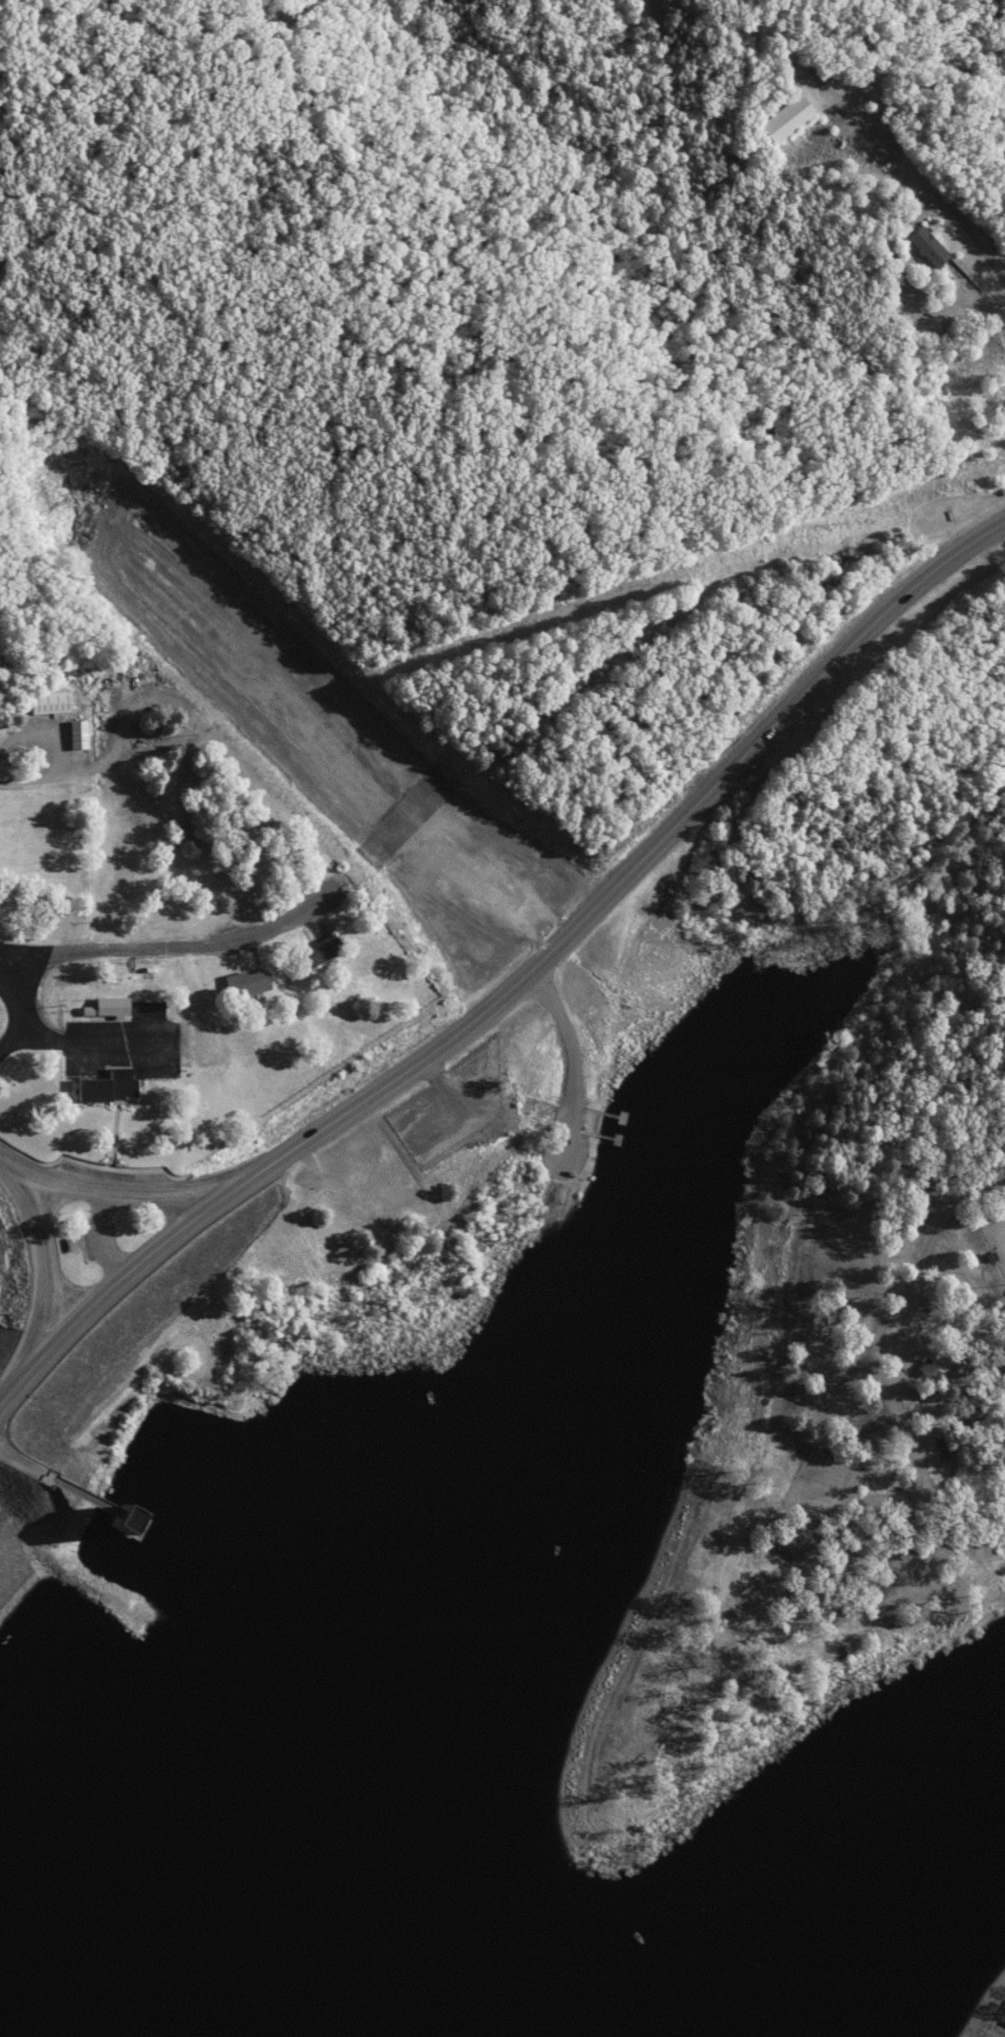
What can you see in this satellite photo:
building: (784, 121)
road: (918, 177)
road: (994, 219)
building: (926, 249)
building: (75, 737)
road: (56, 753)
road: (187, 945)
building: (311, 953)
building: (244, 984)
road: (516, 991)
building: (107, 1008)
road: (21, 1015)
road: (84, 1045)
dam: (269, 1045)
building: (105, 1089)
road: (118, 1187)
road: (54, 1262)
road: (874, 1354)
building: (924, 1369)
building: (790, 1549)

